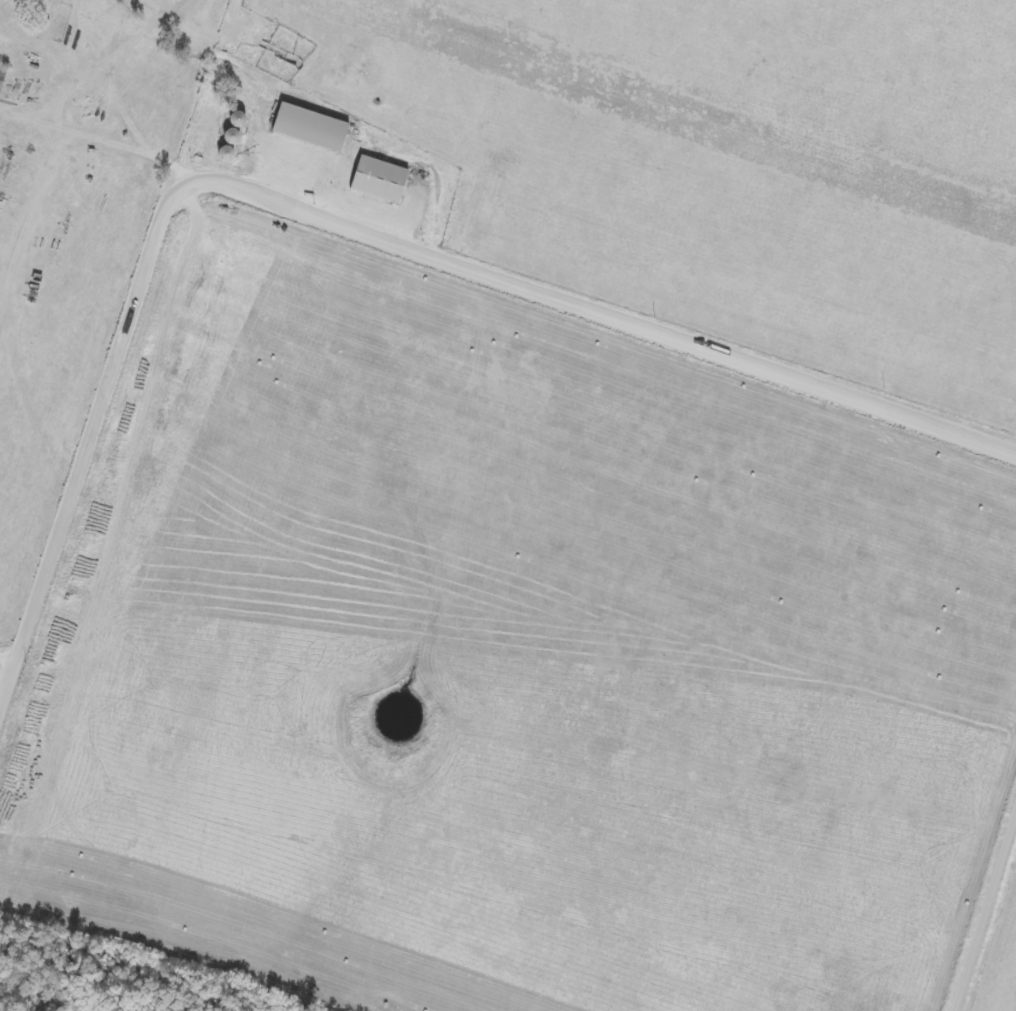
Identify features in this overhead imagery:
building: (380, 181)
road: (299, 196)
road: (16, 680)
road: (1000, 963)

